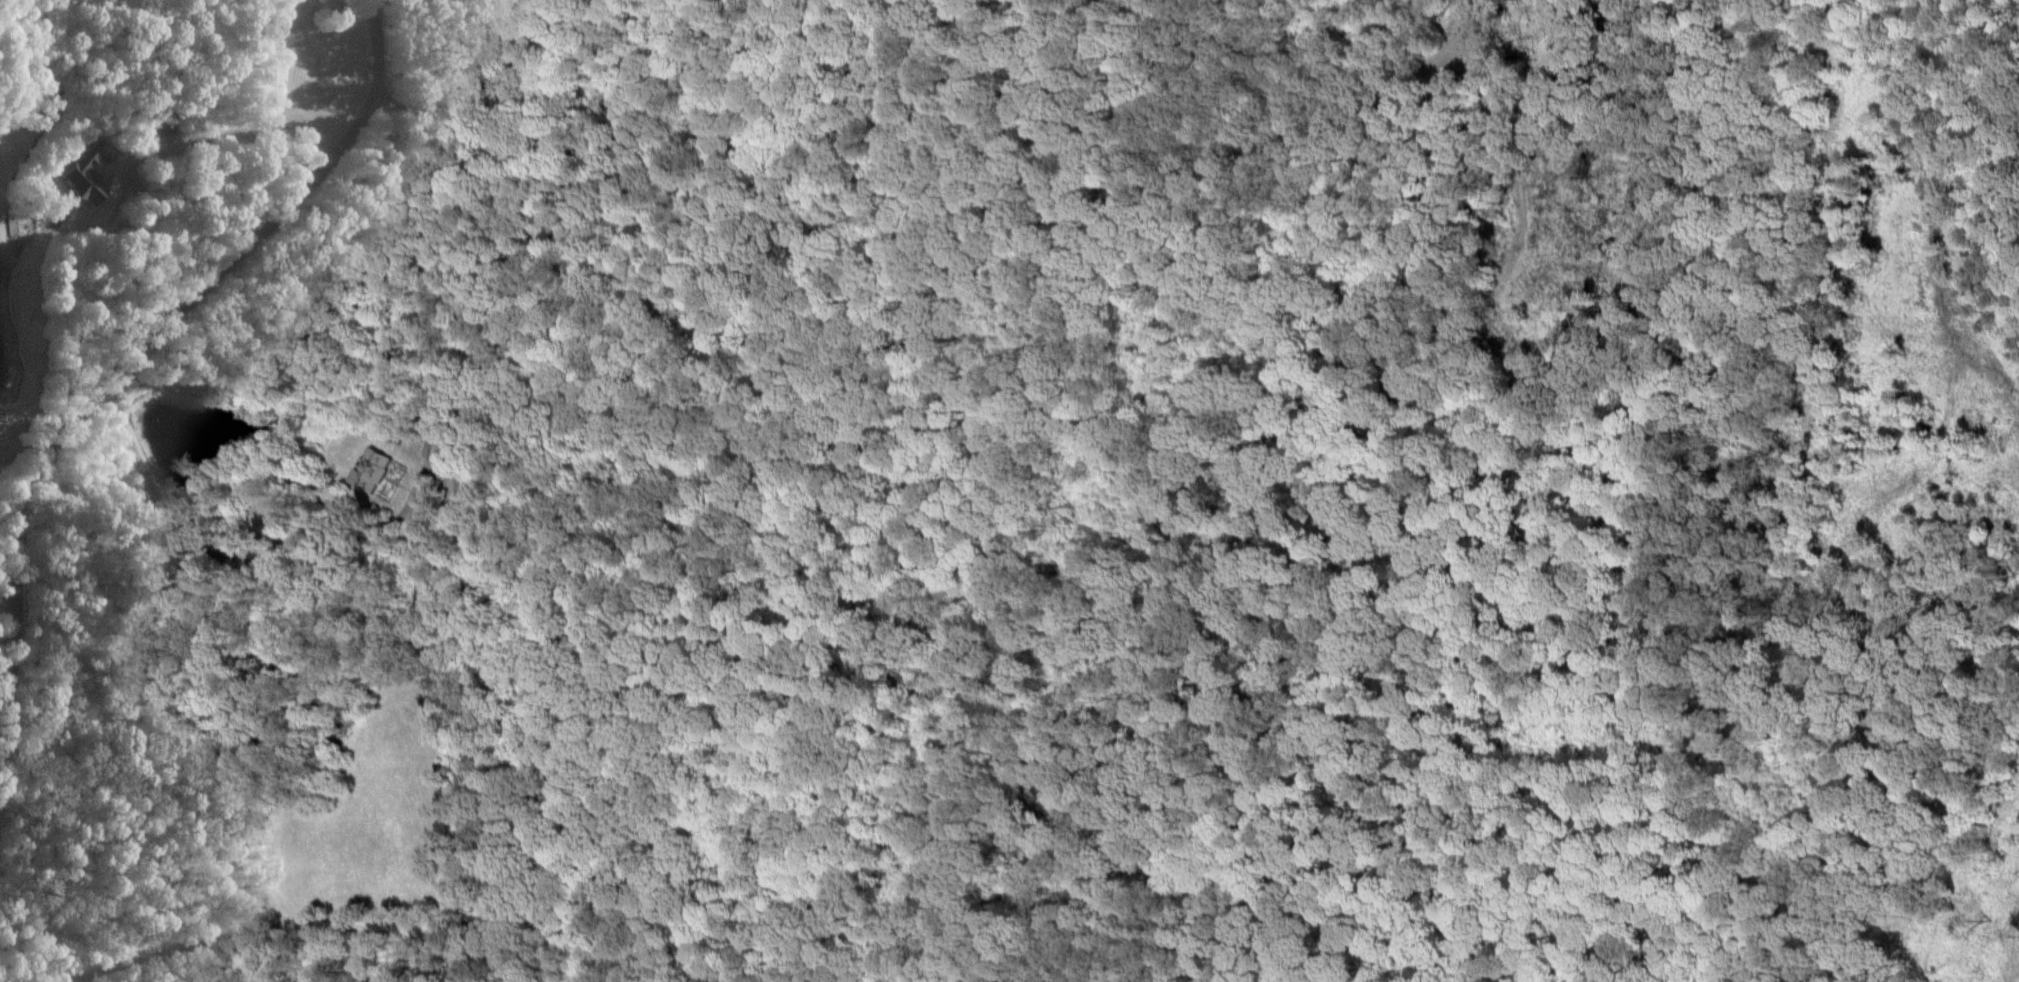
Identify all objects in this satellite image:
road: (371, 51)
road: (221, 130)
building: (89, 172)
road: (99, 389)
road: (980, 406)
building: (437, 450)
building: (368, 471)
road: (274, 561)
road: (1830, 582)
road: (5, 600)
road: (4, 643)

